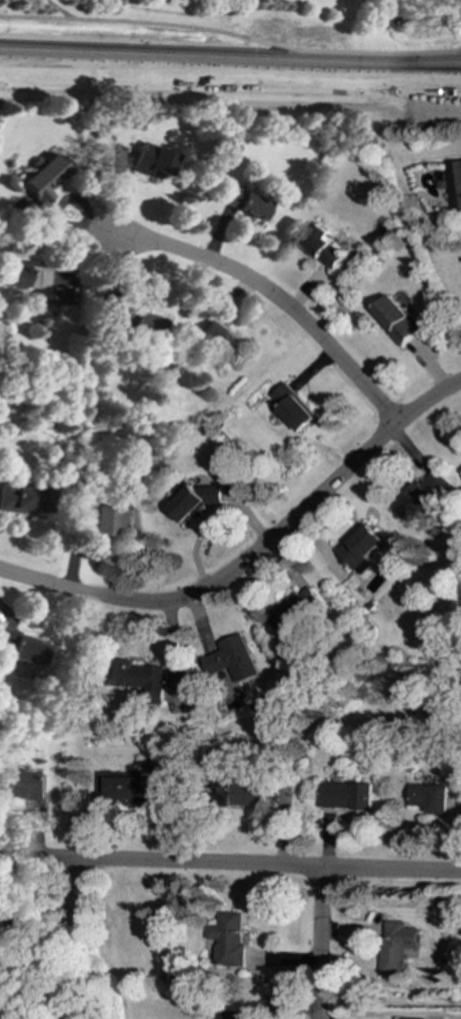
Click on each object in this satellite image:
road: (58, 11)
park: (241, 25)
road: (230, 29)
road: (118, 44)
road: (348, 49)
road: (230, 75)
road: (230, 103)
building: (150, 160)
building: (42, 177)
building: (455, 184)
building: (244, 202)
building: (322, 245)
building: (20, 274)
road: (272, 295)
building: (48, 296)
building: (399, 320)
building: (141, 324)
building: (220, 342)
building: (292, 408)
building: (420, 495)
building: (23, 498)
building: (194, 501)
building: (113, 520)
building: (360, 548)
road: (253, 554)
building: (293, 608)
building: (19, 646)
building: (231, 659)
building: (139, 676)
building: (124, 787)
building: (242, 794)
building: (347, 796)
building: (430, 797)
road: (230, 865)
building: (11, 927)
building: (228, 939)
road: (322, 944)
building: (397, 946)
building: (228, 1015)
building: (409, 1018)

